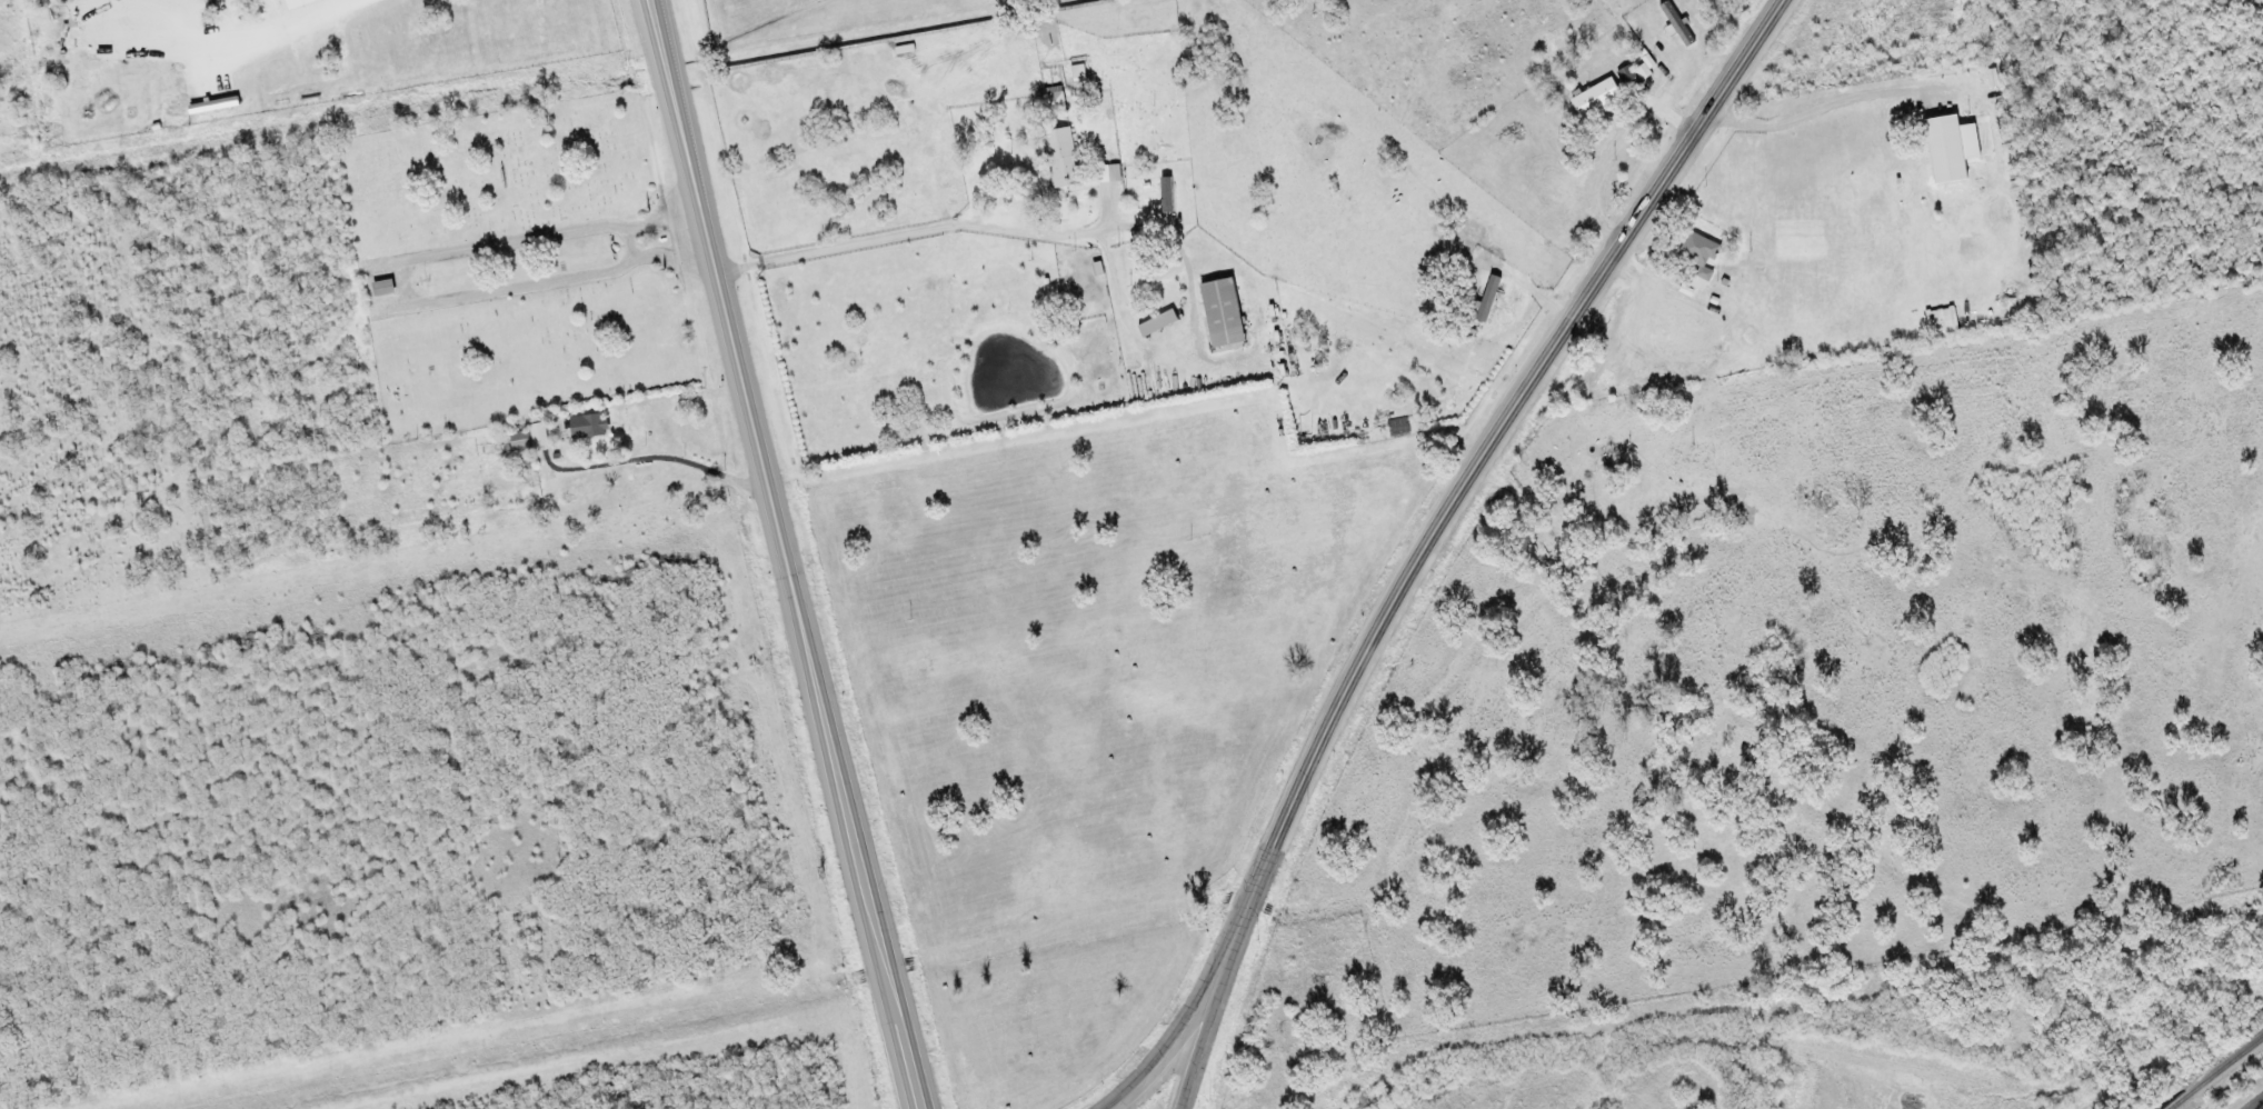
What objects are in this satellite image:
building: (1678, 26)
building: (1646, 66)
building: (1629, 78)
building: (1994, 78)
building: (1597, 97)
building: (217, 106)
building: (1954, 149)
building: (1063, 158)
building: (1111, 174)
building: (1702, 260)
road: (930, 261)
park: (511, 269)
building: (385, 289)
building: (1225, 313)
building: (1950, 321)
building: (1159, 324)
building: (590, 427)
building: (530, 438)
road: (1496, 448)
road: (790, 553)
road: (698, 575)
road: (1216, 1016)
road: (1200, 1023)
railway: (2214, 1071)
road: (2255, 1103)

